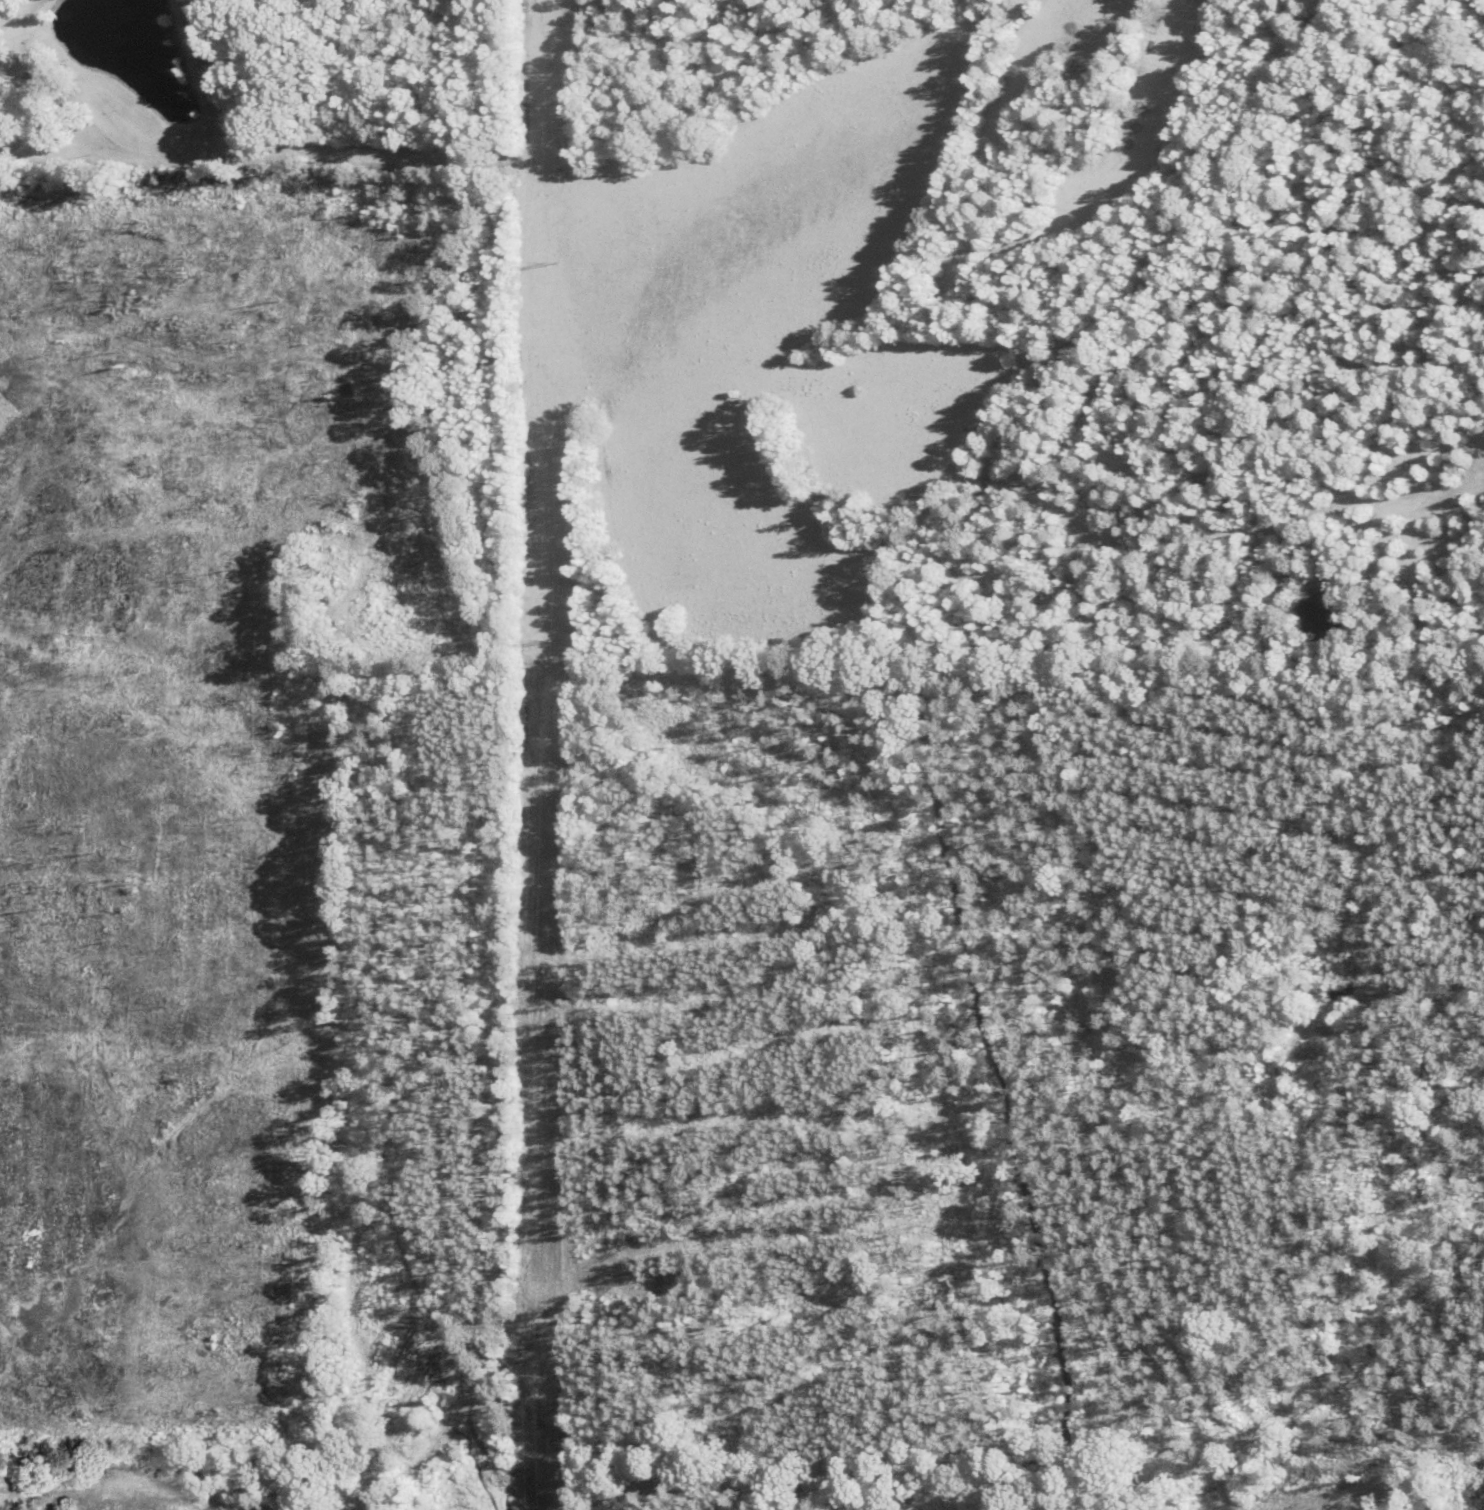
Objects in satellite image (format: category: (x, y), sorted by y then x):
building: (52, 103)
power tower: (549, 260)
power tower: (550, 638)
power tower: (549, 1021)
power tower: (547, 1374)

